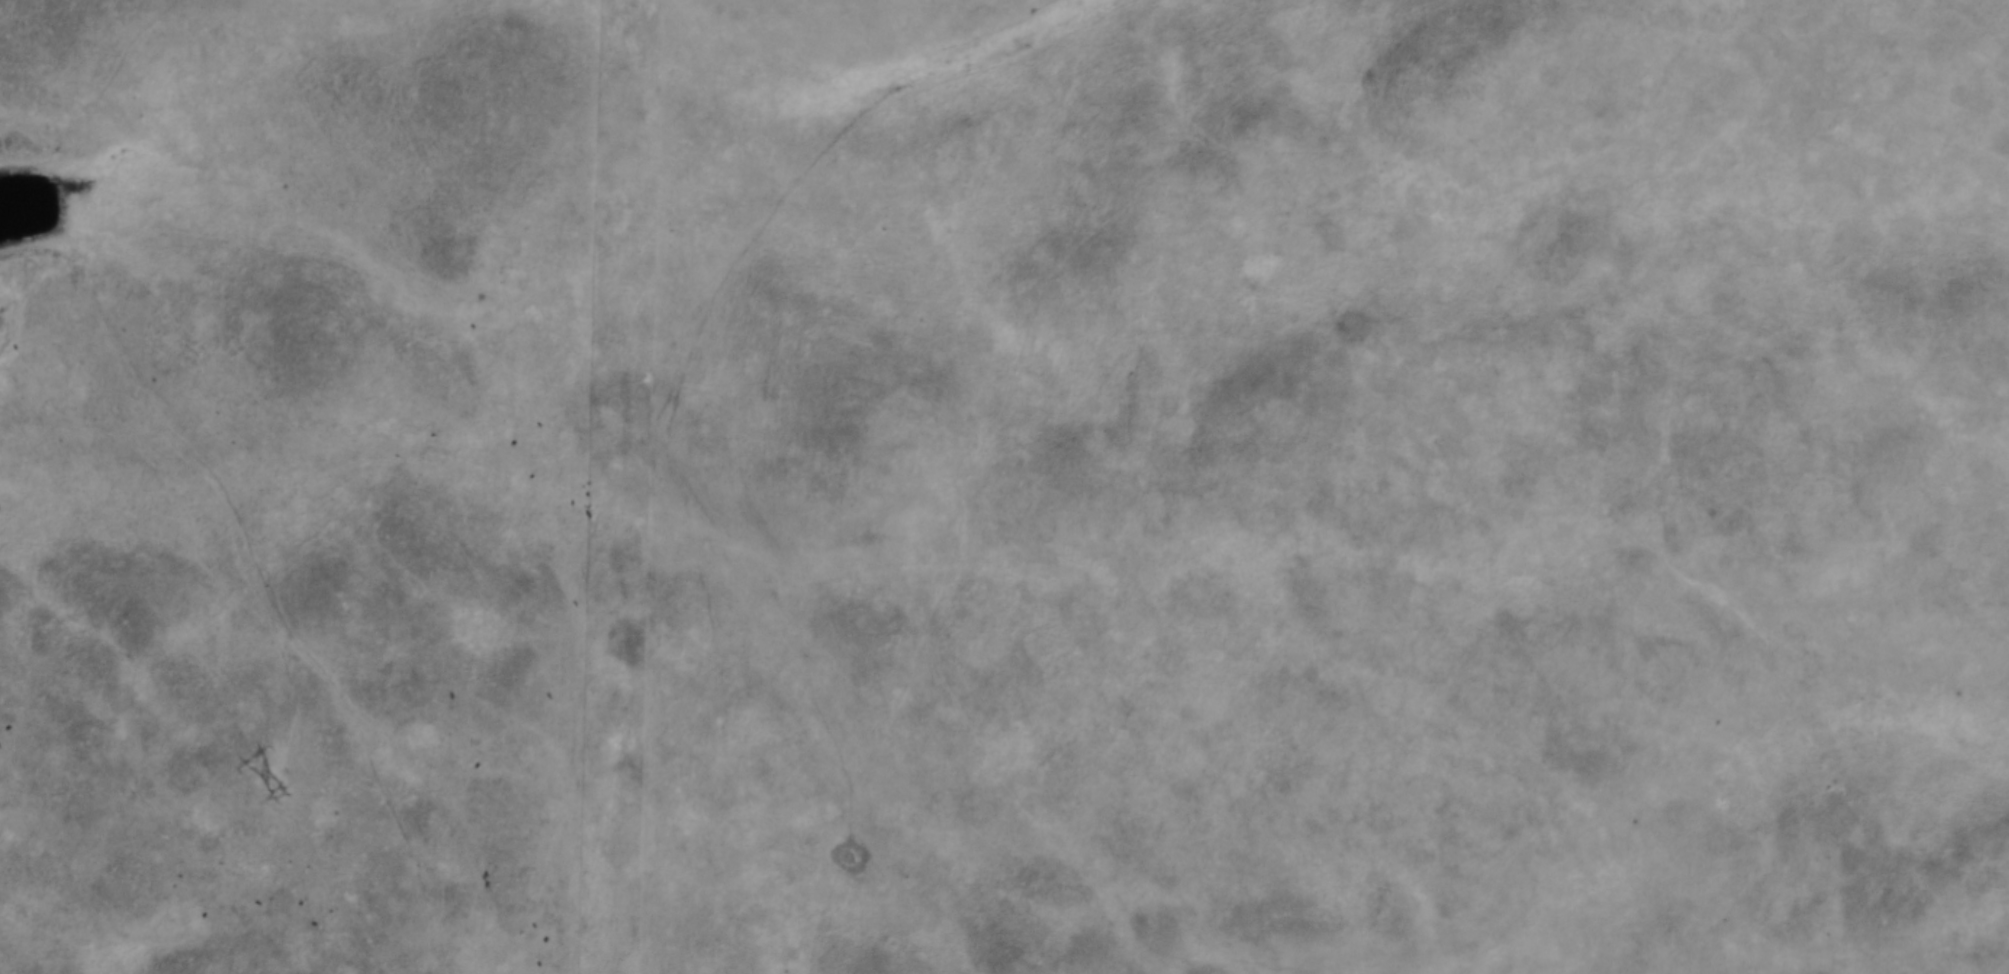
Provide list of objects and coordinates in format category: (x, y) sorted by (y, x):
power tower: (274, 798)

